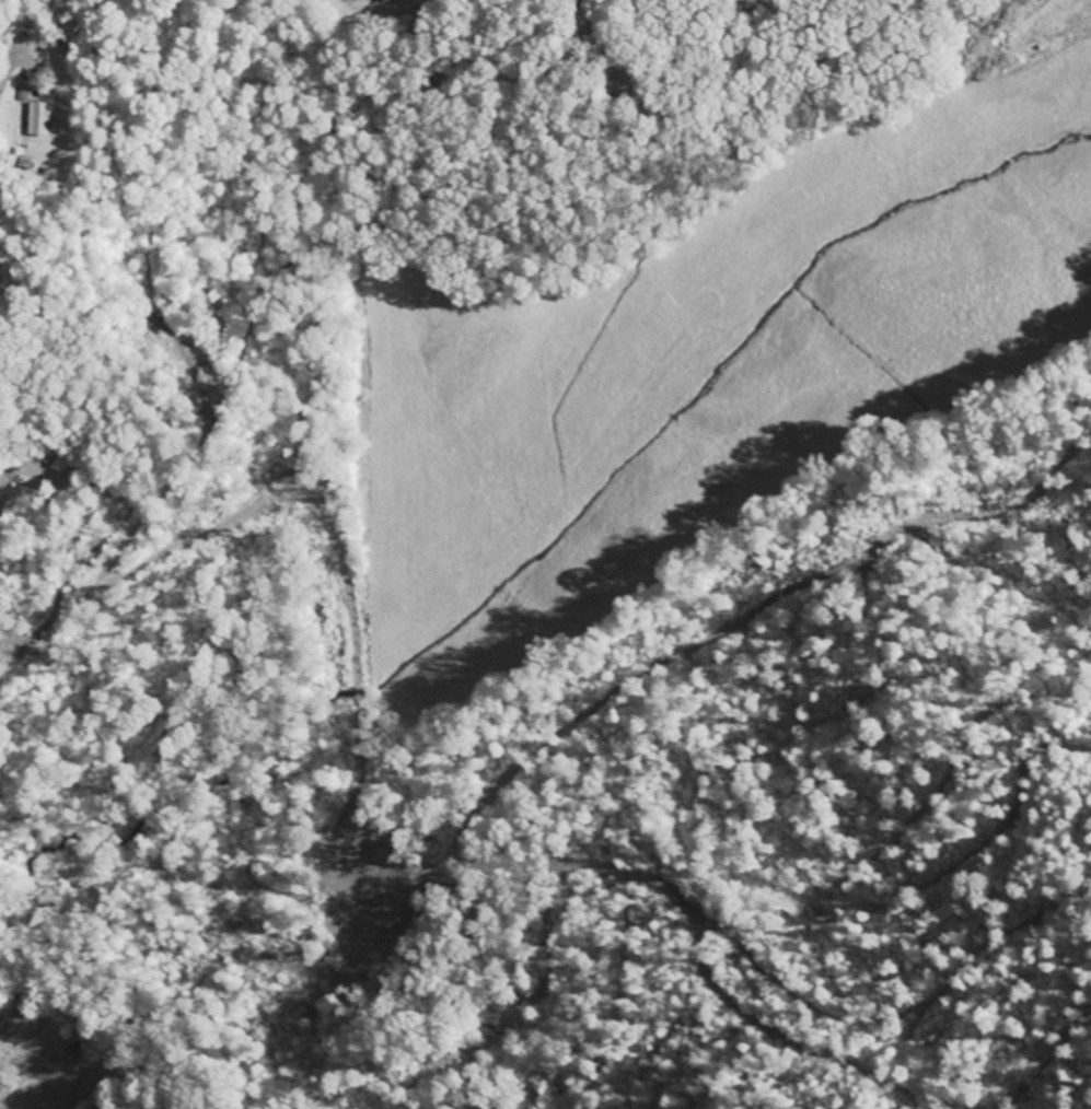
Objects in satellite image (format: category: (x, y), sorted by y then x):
building: (369, 0)
building: (387, 0)
building: (23, 93)
building: (37, 118)
road: (13, 663)

